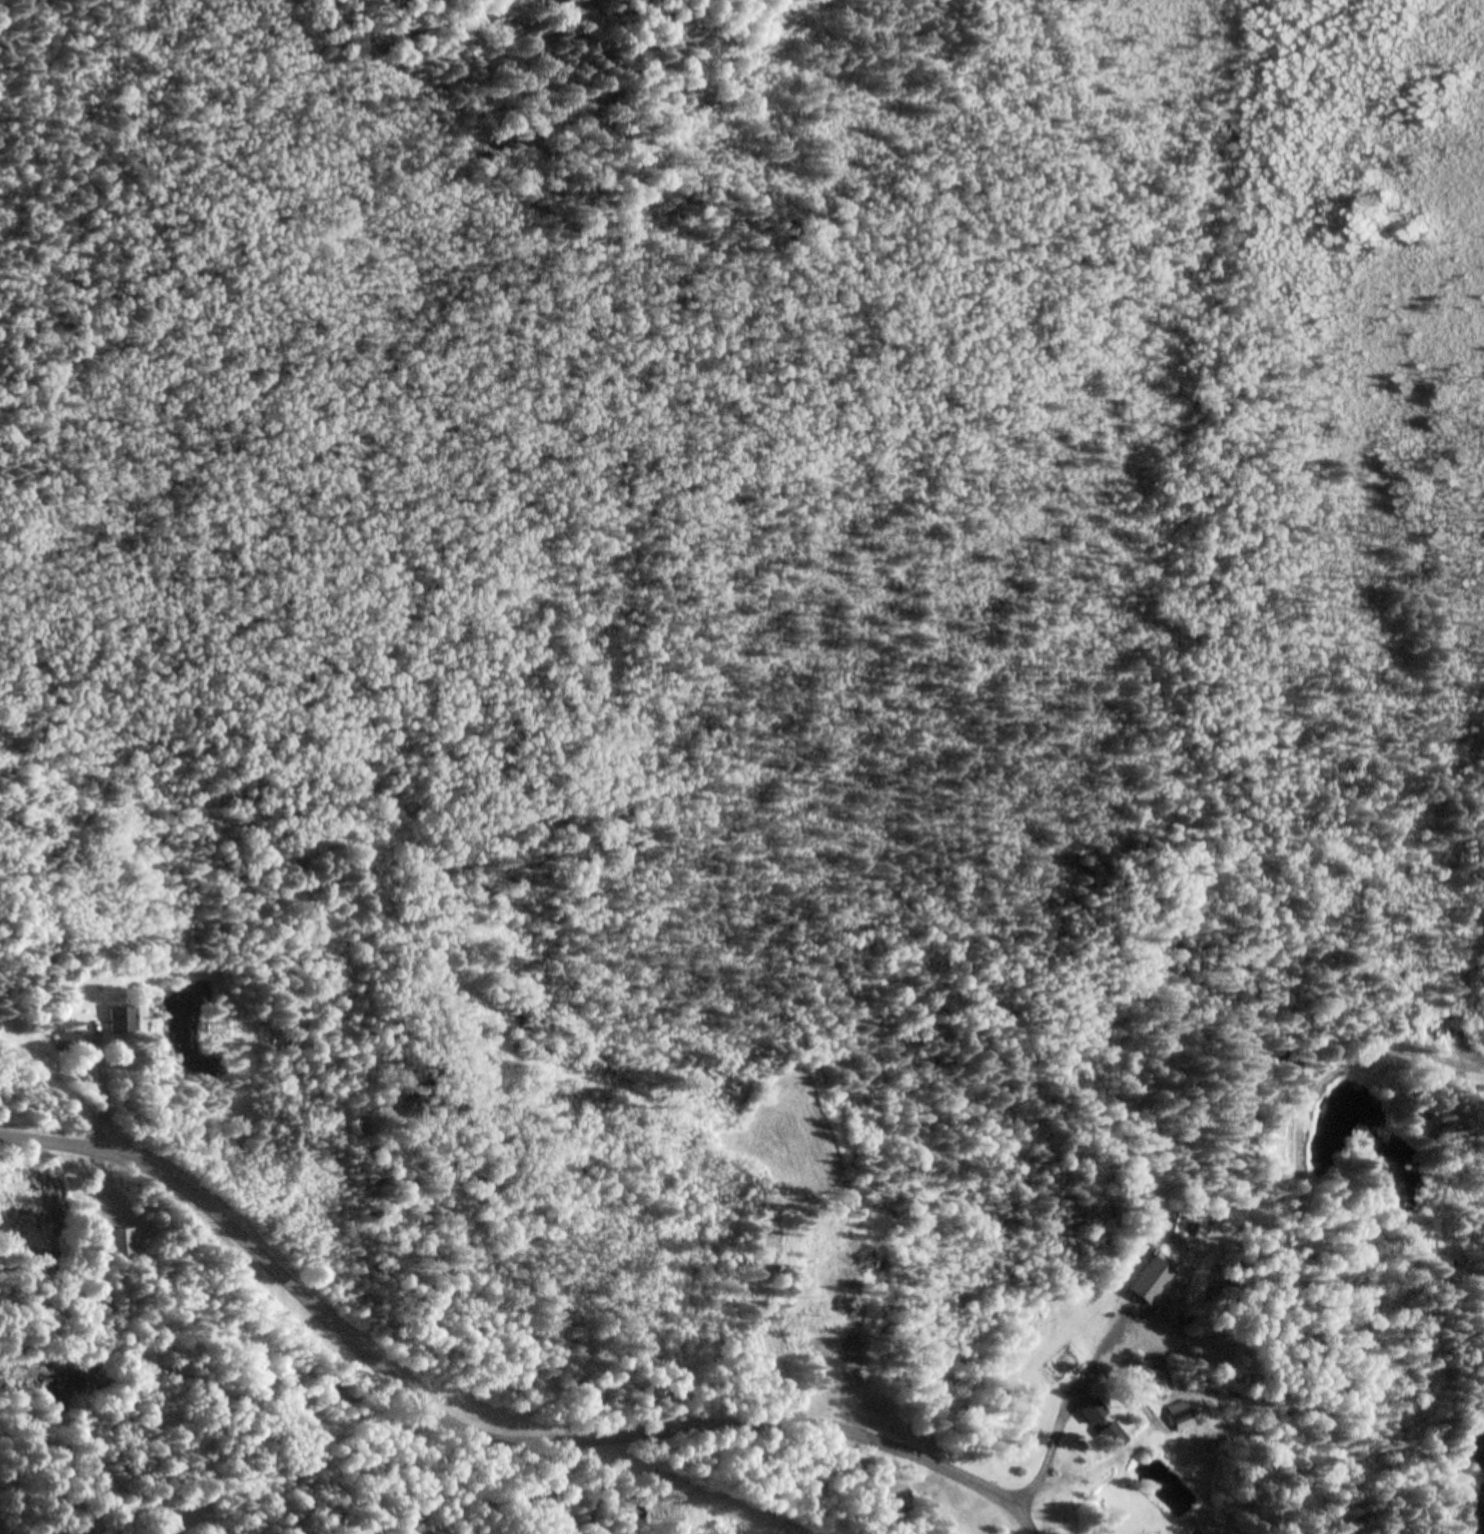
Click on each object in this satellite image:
building: (127, 1020)
building: (77, 1039)
building: (126, 1243)
building: (1153, 1279)
building: (1182, 1412)
building: (1106, 1425)
road: (482, 1436)
building: (85, 1522)

